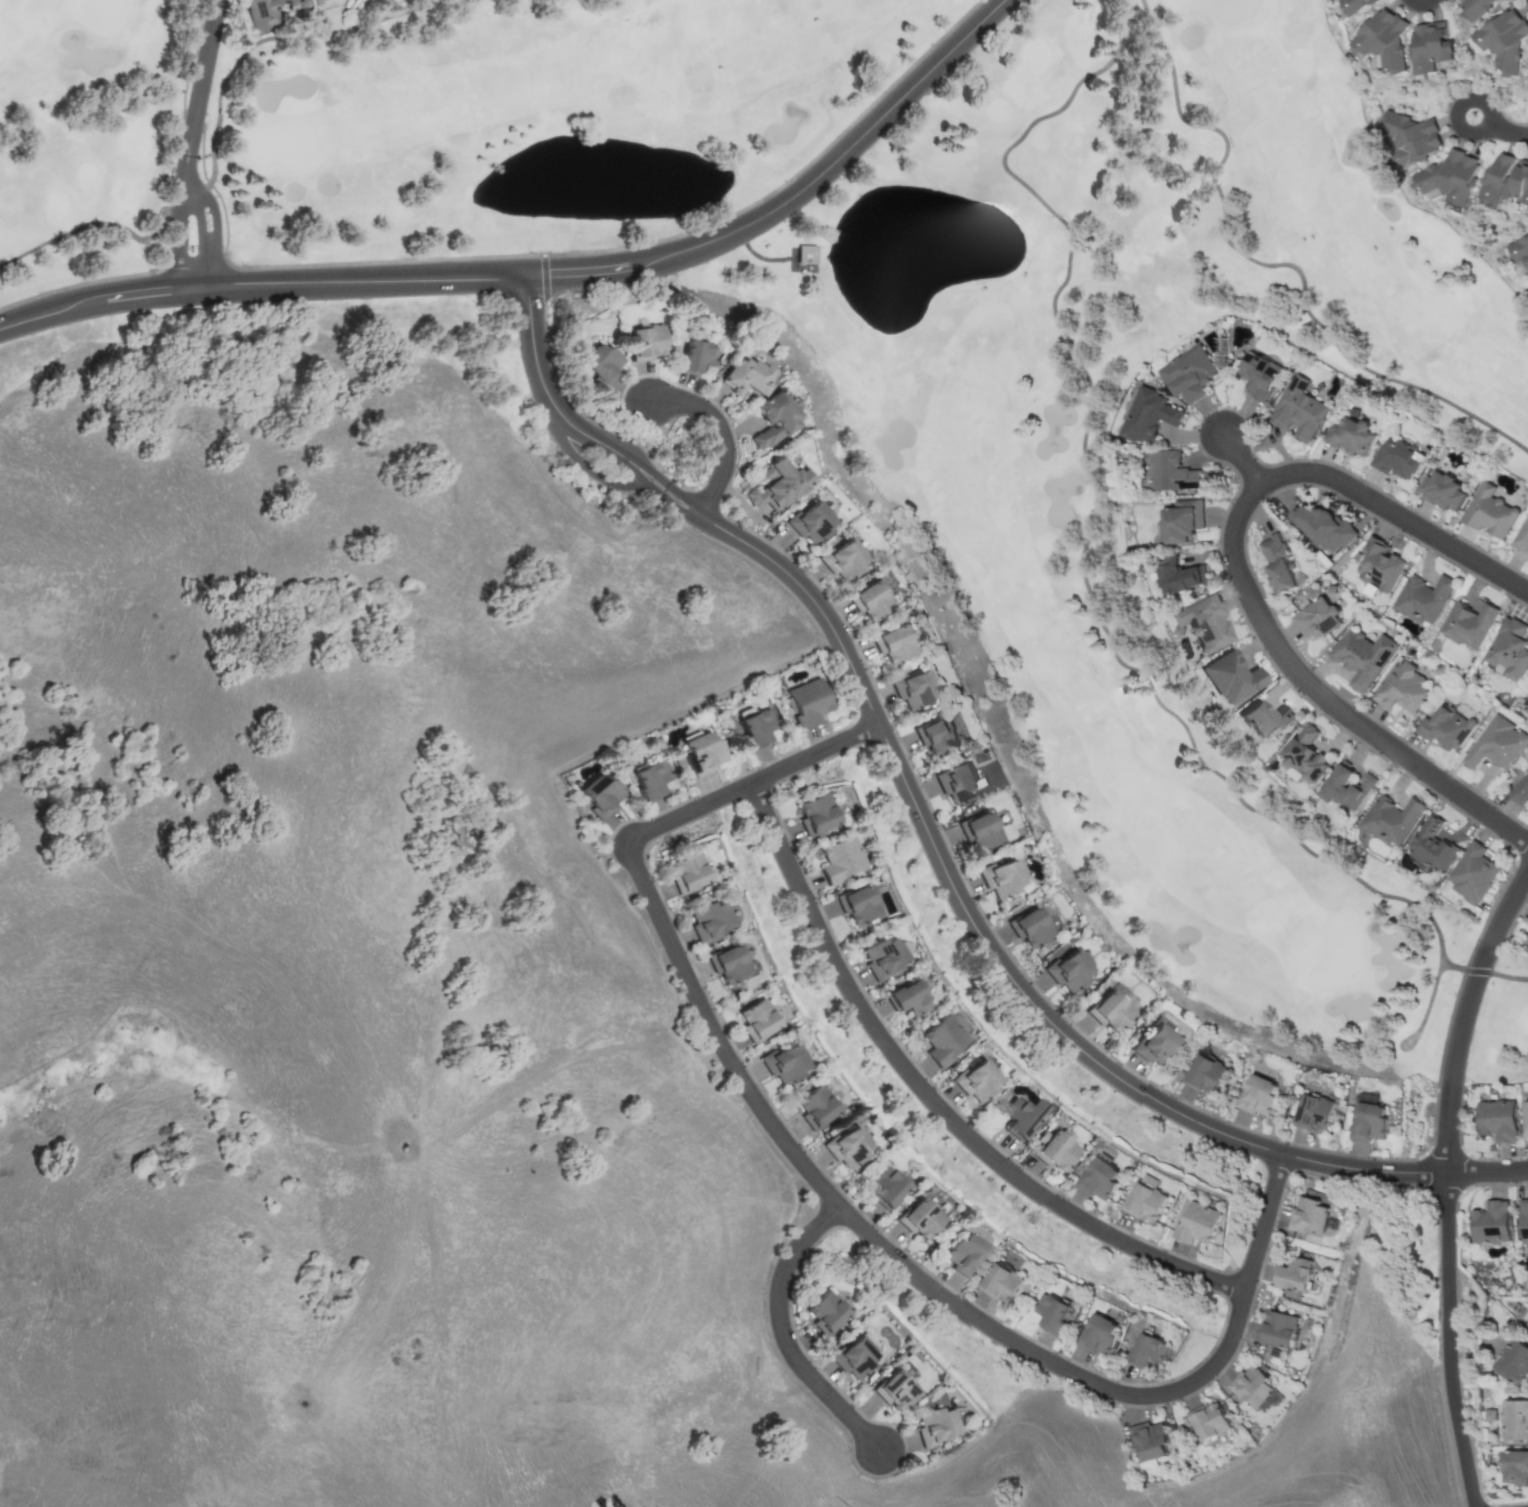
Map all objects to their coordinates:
building: (278, 0)
road: (1421, 2)
building: (294, 3)
building: (1354, 4)
building: (1478, 8)
building: (261, 13)
park: (277, 16)
park: (1244, 25)
road: (263, 39)
building: (1384, 39)
building: (1504, 39)
building: (1431, 46)
road: (204, 63)
road: (1453, 120)
road: (1506, 131)
building: (1412, 137)
road: (834, 160)
park: (1462, 172)
building: (1450, 177)
building: (1506, 180)
road: (188, 192)
road: (213, 205)
road: (178, 208)
road: (95, 222)
road: (200, 228)
building: (1519, 249)
building: (806, 254)
road: (1271, 263)
road: (578, 270)
road: (360, 280)
road: (137, 292)
road: (40, 314)
building: (646, 342)
building: (695, 356)
building: (600, 362)
building: (1188, 374)
building: (1259, 375)
building: (746, 376)
road: (542, 382)
building: (1299, 410)
building: (1149, 415)
building: (775, 417)
road: (722, 433)
building: (1350, 436)
road: (1240, 459)
building: (1398, 460)
park: (1352, 463)
road: (588, 466)
building: (1169, 471)
road: (664, 479)
building: (778, 484)
road: (656, 489)
building: (1442, 490)
building: (1489, 512)
building: (1182, 520)
building: (812, 522)
park: (1009, 524)
building: (1324, 528)
road: (1091, 530)
building: (1523, 537)
building: (843, 558)
building: (1278, 563)
building: (1378, 565)
building: (1179, 574)
road: (1239, 574)
building: (1422, 598)
building: (870, 599)
park: (1340, 600)
building: (1316, 617)
building: (1205, 623)
building: (1468, 624)
building: (893, 643)
building: (1508, 649)
building: (1362, 657)
building: (1233, 677)
building: (1402, 687)
building: (913, 688)
building: (809, 701)
building: (1264, 719)
building: (757, 726)
building: (1445, 728)
building: (935, 735)
building: (1496, 744)
building: (703, 752)
building: (1306, 755)
building: (651, 778)
road: (753, 781)
building: (958, 783)
building: (1346, 787)
building: (1520, 792)
building: (600, 794)
building: (813, 813)
building: (1391, 819)
building: (981, 831)
building: (1433, 844)
building: (838, 859)
building: (687, 872)
road: (946, 872)
building: (1473, 873)
building: (1001, 877)
building: (856, 903)
road: (1507, 905)
building: (710, 920)
building: (1031, 926)
building: (1526, 940)
building: (882, 956)
building: (730, 963)
building: (1068, 970)
road: (1478, 971)
road: (1510, 977)
building: (907, 997)
road: (1426, 1006)
building: (1111, 1007)
road: (1465, 1011)
building: (758, 1020)
building: (943, 1039)
building: (1154, 1045)
building: (783, 1062)
building: (1206, 1073)
building: (977, 1080)
building: (1258, 1095)
road: (933, 1099)
building: (815, 1106)
building: (1313, 1111)
building: (1020, 1115)
building: (1525, 1118)
building: (1497, 1119)
building: (1369, 1122)
road: (1445, 1127)
building: (848, 1146)
building: (1055, 1148)
road: (1361, 1169)
road: (1486, 1170)
road: (812, 1175)
building: (1099, 1177)
building: (886, 1185)
building: (1144, 1201)
building: (1309, 1215)
building: (919, 1218)
road: (1261, 1221)
building: (1523, 1221)
building: (1197, 1223)
building: (1491, 1223)
building: (963, 1254)
building: (1294, 1273)
building: (1002, 1282)
building: (826, 1311)
building: (1052, 1312)
building: (1278, 1328)
road: (784, 1333)
building: (1099, 1335)
road: (1446, 1340)
building: (1148, 1350)
building: (855, 1356)
building: (1513, 1360)
road: (1204, 1370)
building: (1253, 1386)
building: (896, 1389)
building: (1514, 1419)
building: (1207, 1421)
building: (936, 1425)
building: (1148, 1440)
building: (1514, 1467)

